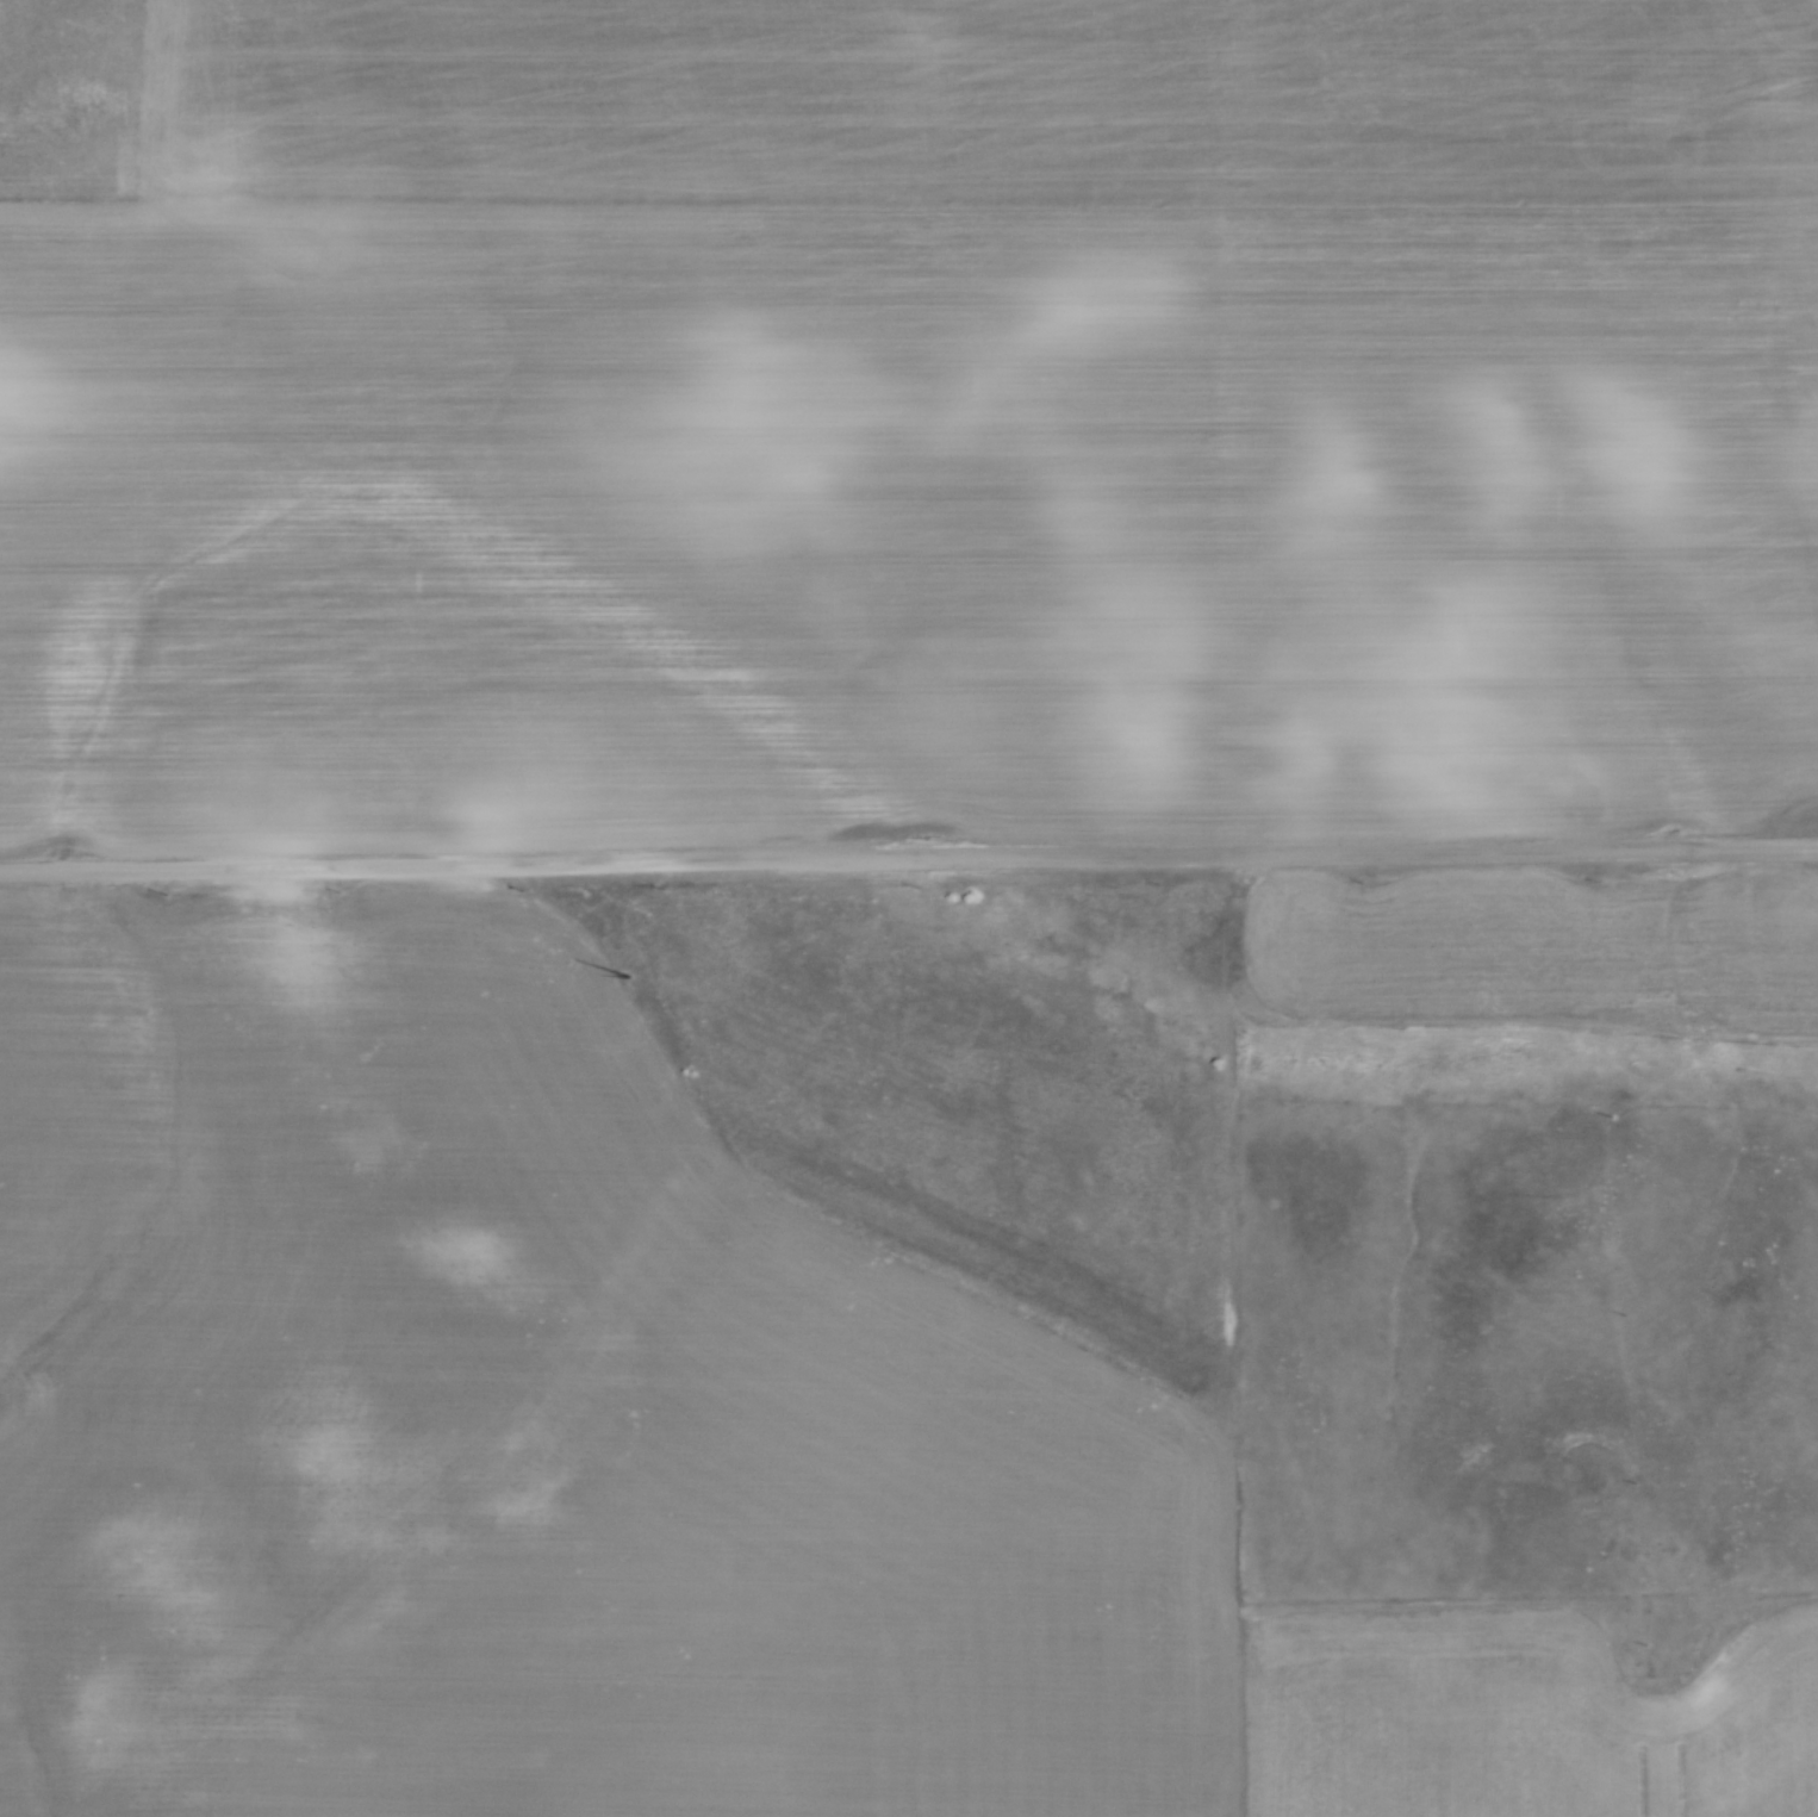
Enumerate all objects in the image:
crop: (921, 427)
road: (909, 857)
crop: (1536, 945)
crop: (634, 1450)

